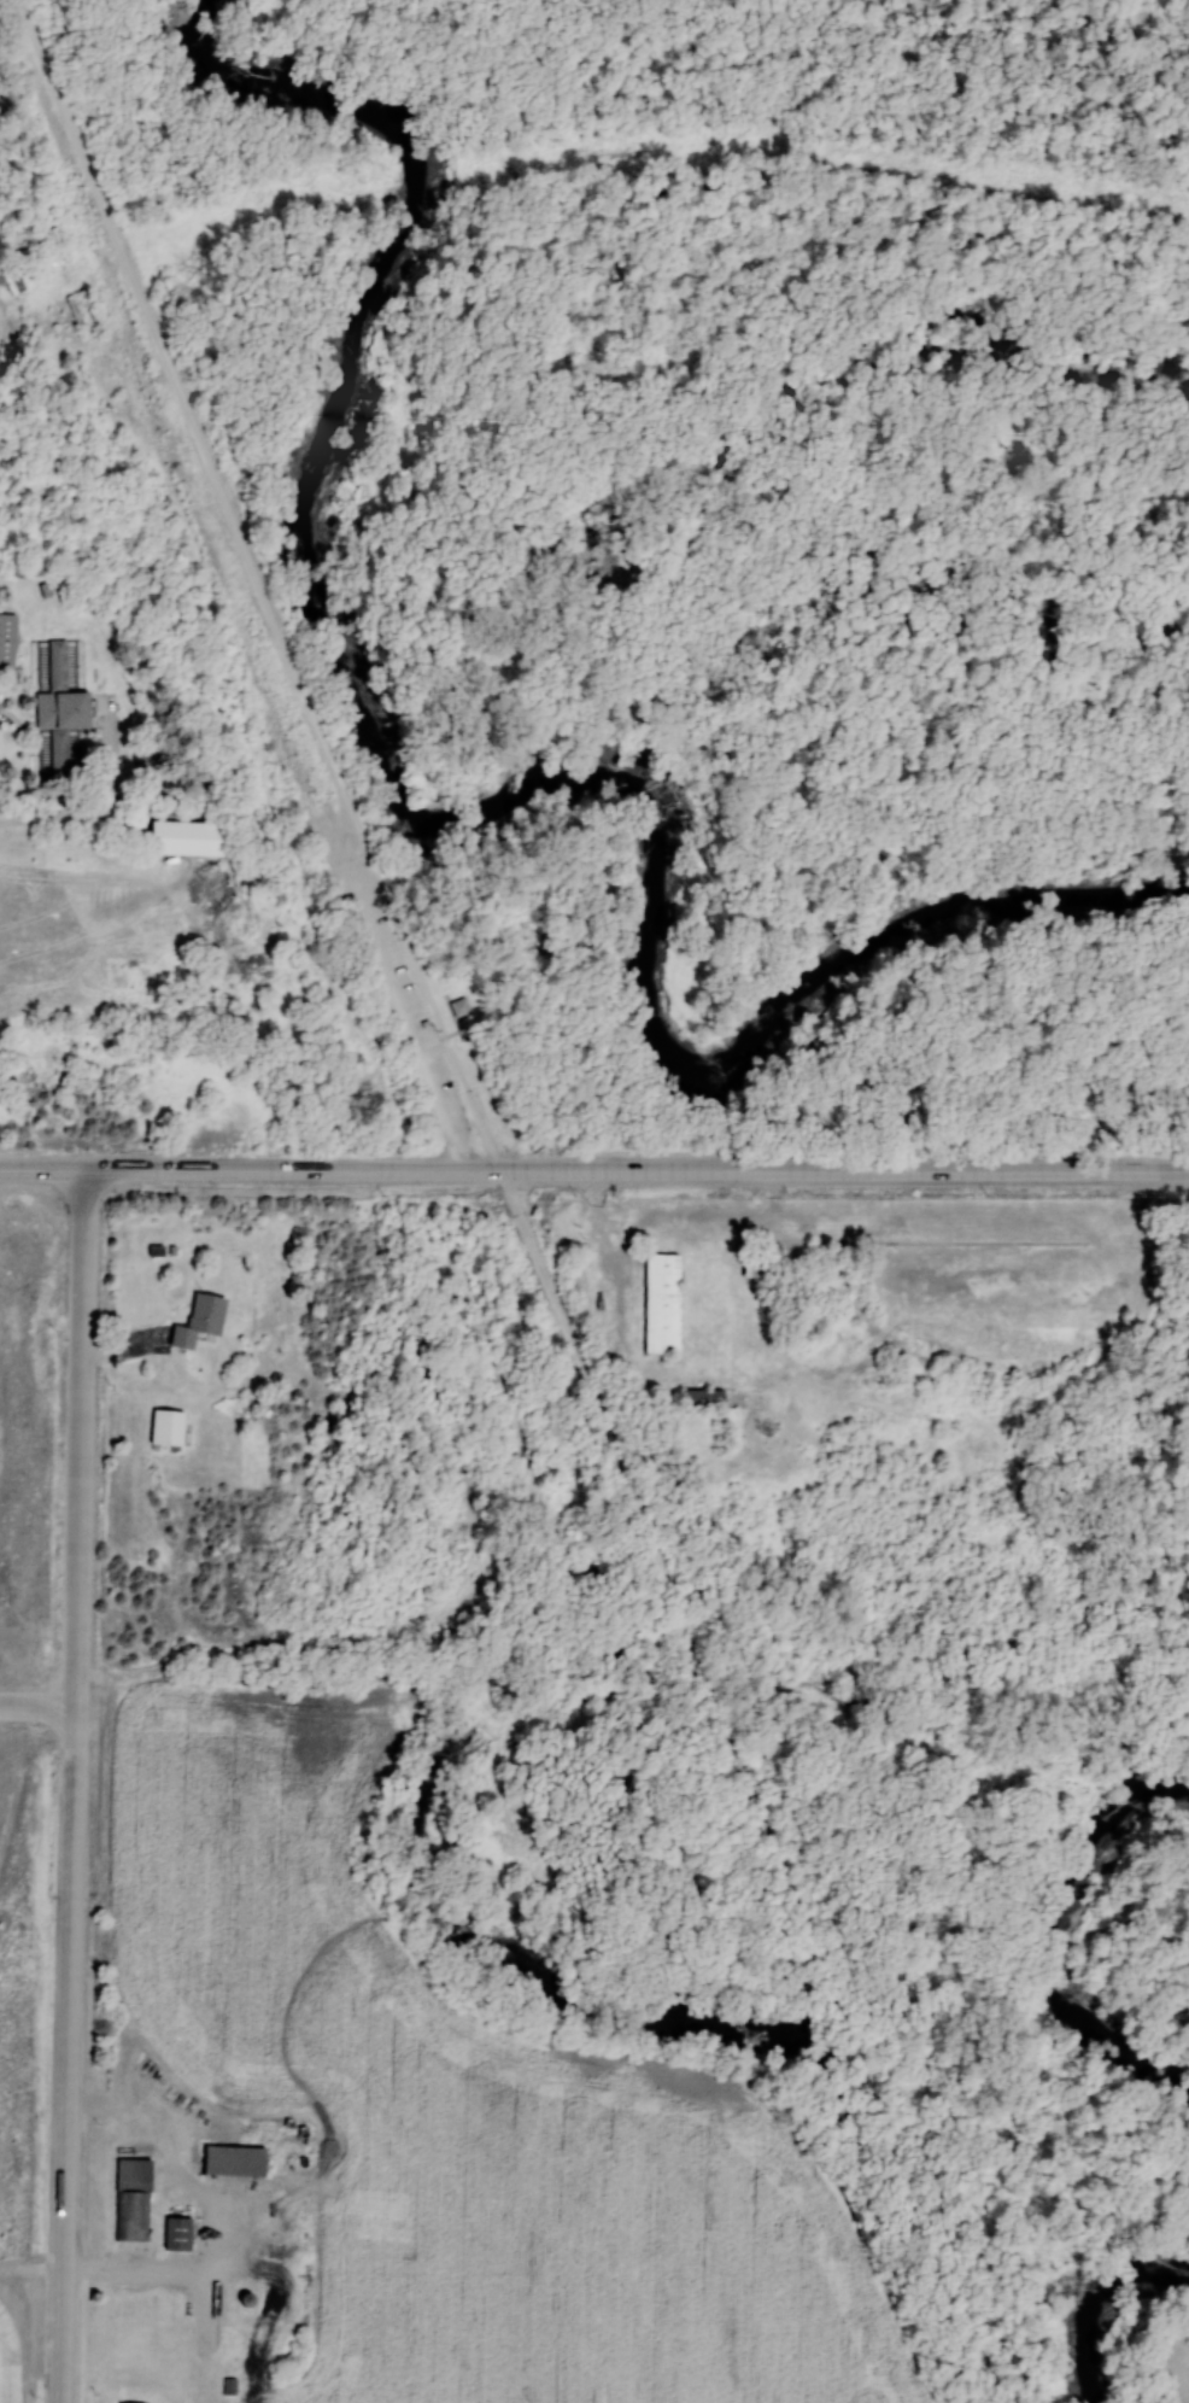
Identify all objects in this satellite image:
road: (651, 13)
road: (561, 179)
road: (926, 201)
road: (259, 584)
park: (652, 597)
building: (6, 637)
building: (57, 701)
river: (458, 823)
building: (184, 836)
building: (459, 1005)
parking lot: (412, 1017)
building: (424, 1021)
road: (229, 1169)
road: (824, 1170)
building: (660, 1302)
building: (199, 1319)
building: (702, 1398)
road: (594, 1408)
building: (166, 1426)
road: (81, 1438)
road: (709, 1690)
road: (37, 1707)
river: (1047, 1931)
road: (70, 2056)
road: (862, 2068)
building: (233, 2159)
building: (130, 2196)
building: (176, 2232)
river: (1094, 2297)
building: (129, 2402)

